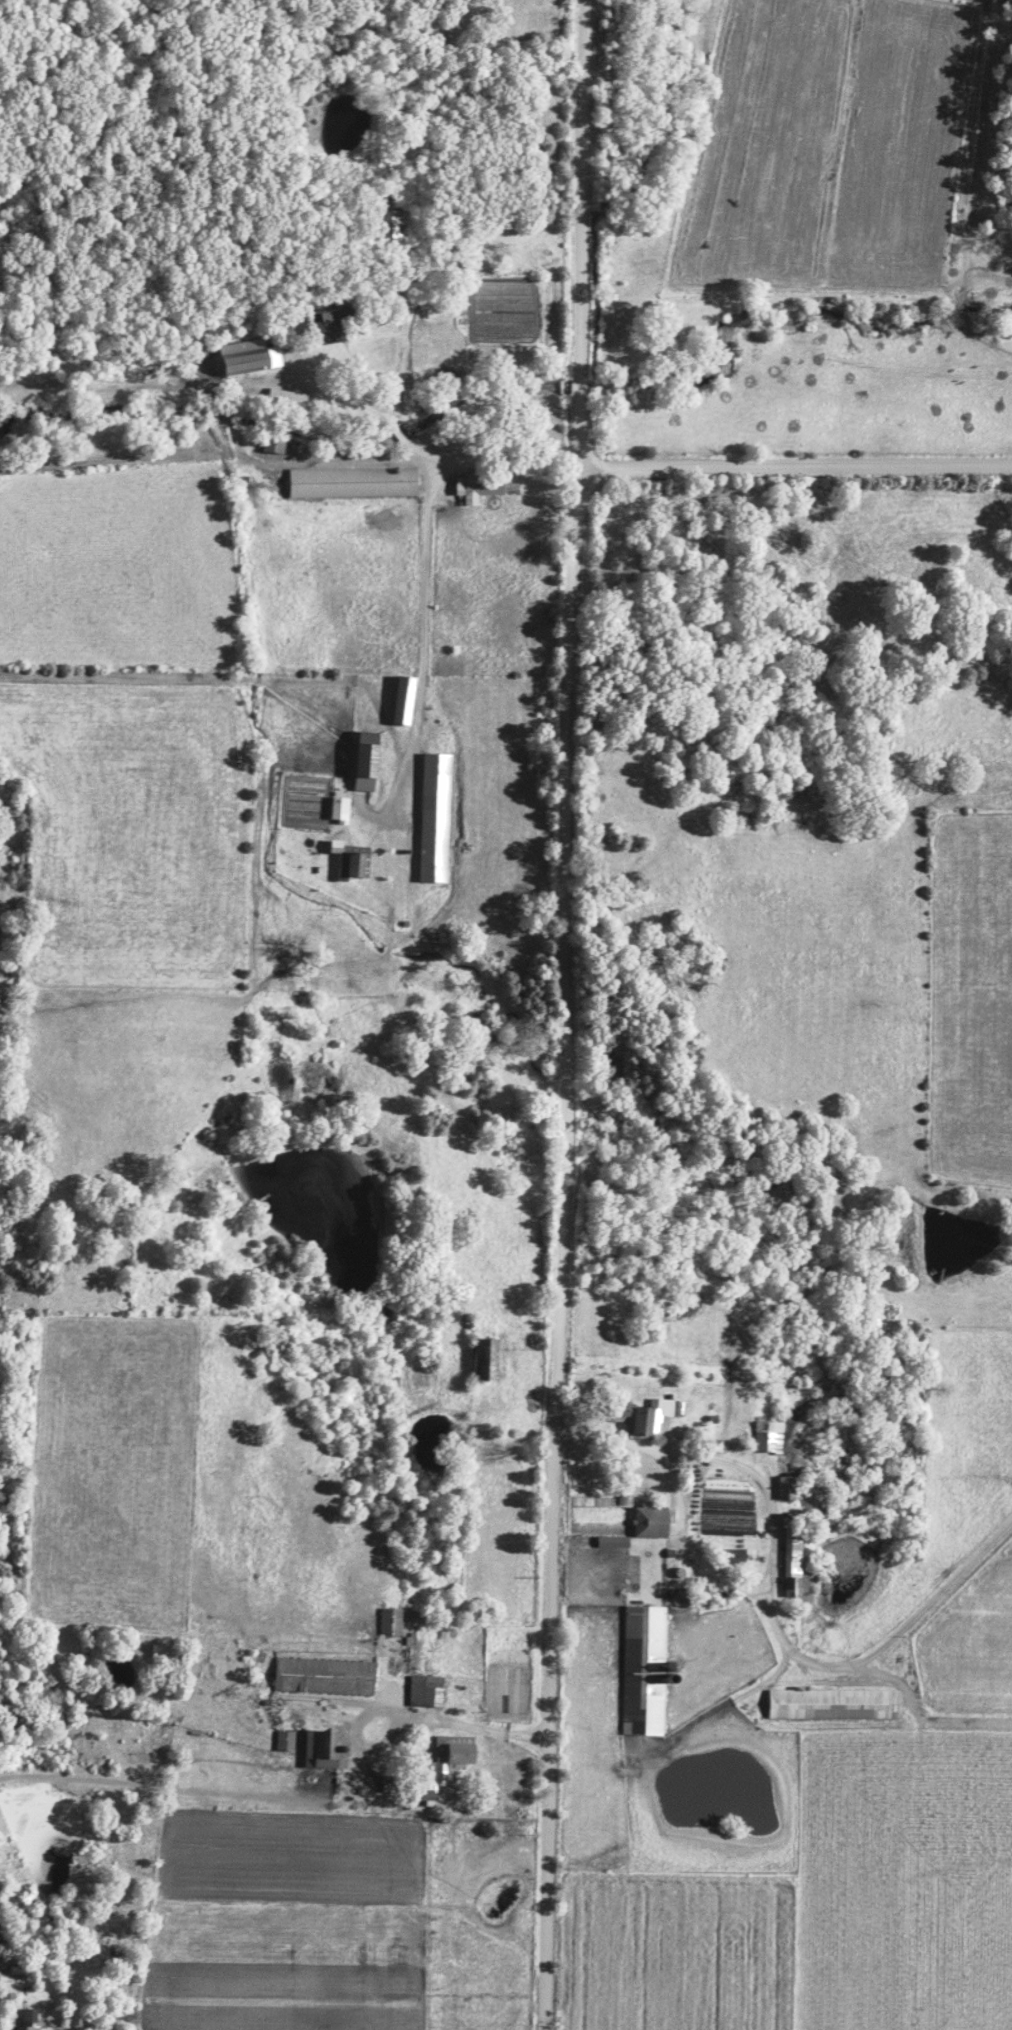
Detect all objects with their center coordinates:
road: (575, 182)
building: (390, 225)
building: (325, 327)
building: (249, 357)
building: (287, 400)
road: (573, 418)
building: (273, 447)
road: (429, 461)
road: (791, 469)
building: (354, 483)
building: (477, 489)
road: (418, 563)
building: (404, 701)
building: (366, 763)
building: (340, 811)
building: (435, 819)
building: (349, 866)
road: (280, 1000)
road: (418, 1044)
road: (557, 1250)
building: (487, 1361)
building: (651, 1416)
building: (624, 1420)
building: (769, 1437)
building: (784, 1487)
road: (765, 1508)
building: (651, 1521)
building: (613, 1542)
road: (681, 1546)
building: (792, 1559)
road: (941, 1589)
building: (391, 1621)
building: (400, 1667)
building: (325, 1677)
building: (426, 1691)
building: (834, 1704)
road: (715, 1712)
road: (356, 1721)
road: (471, 1729)
building: (286, 1741)
building: (326, 1749)
building: (426, 1795)
building: (29, 2020)

